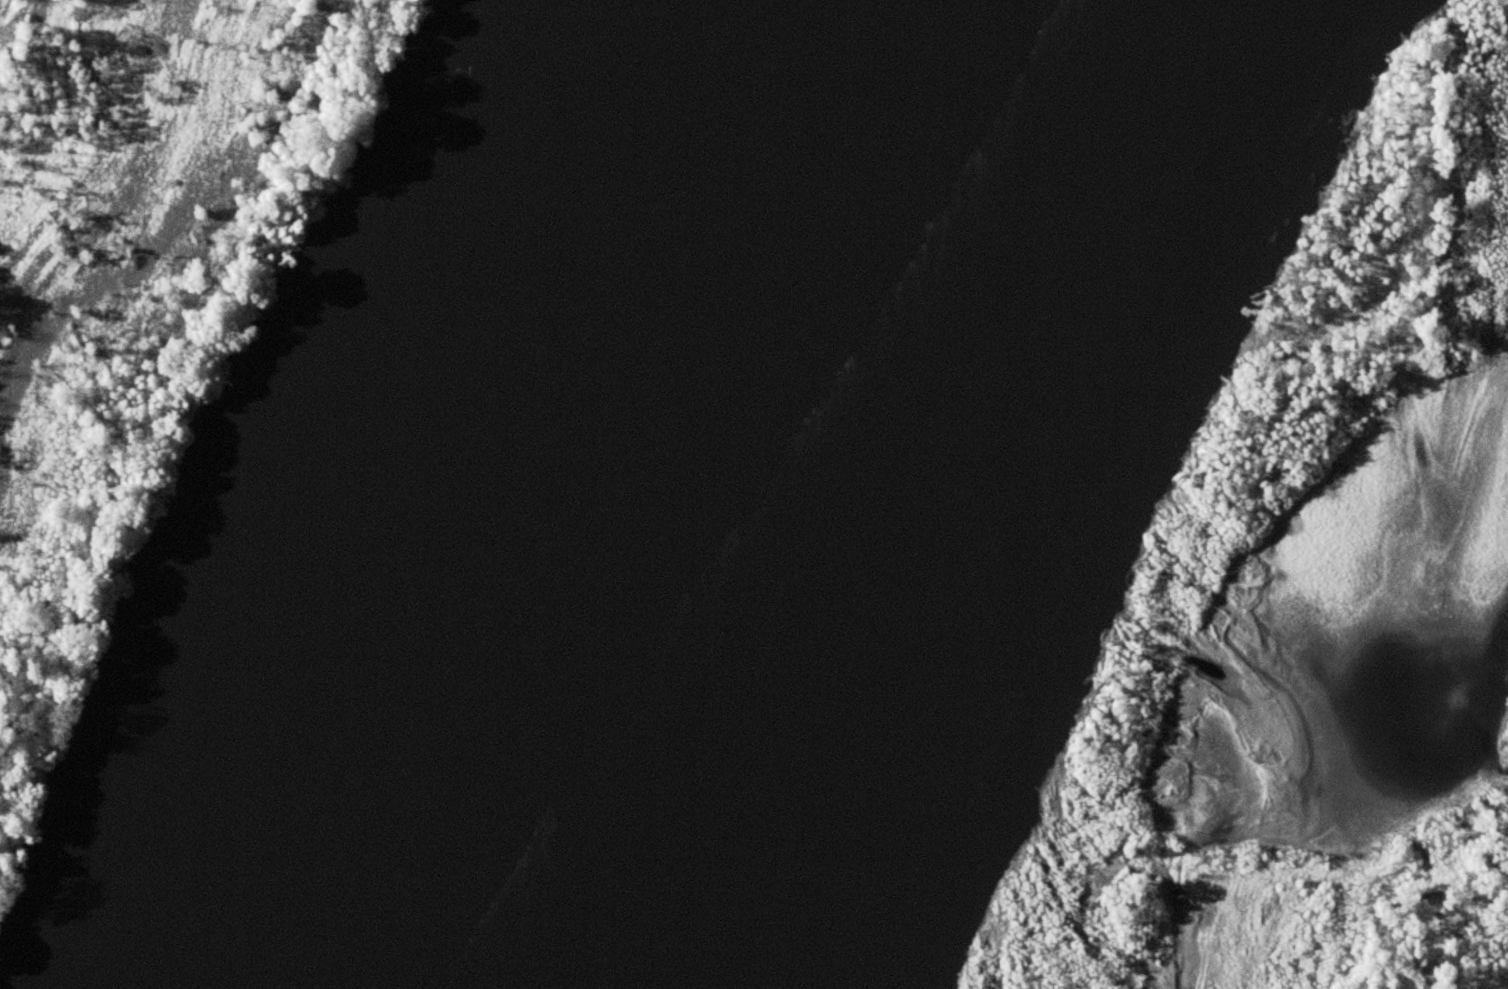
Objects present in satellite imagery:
river: (491, 491)

